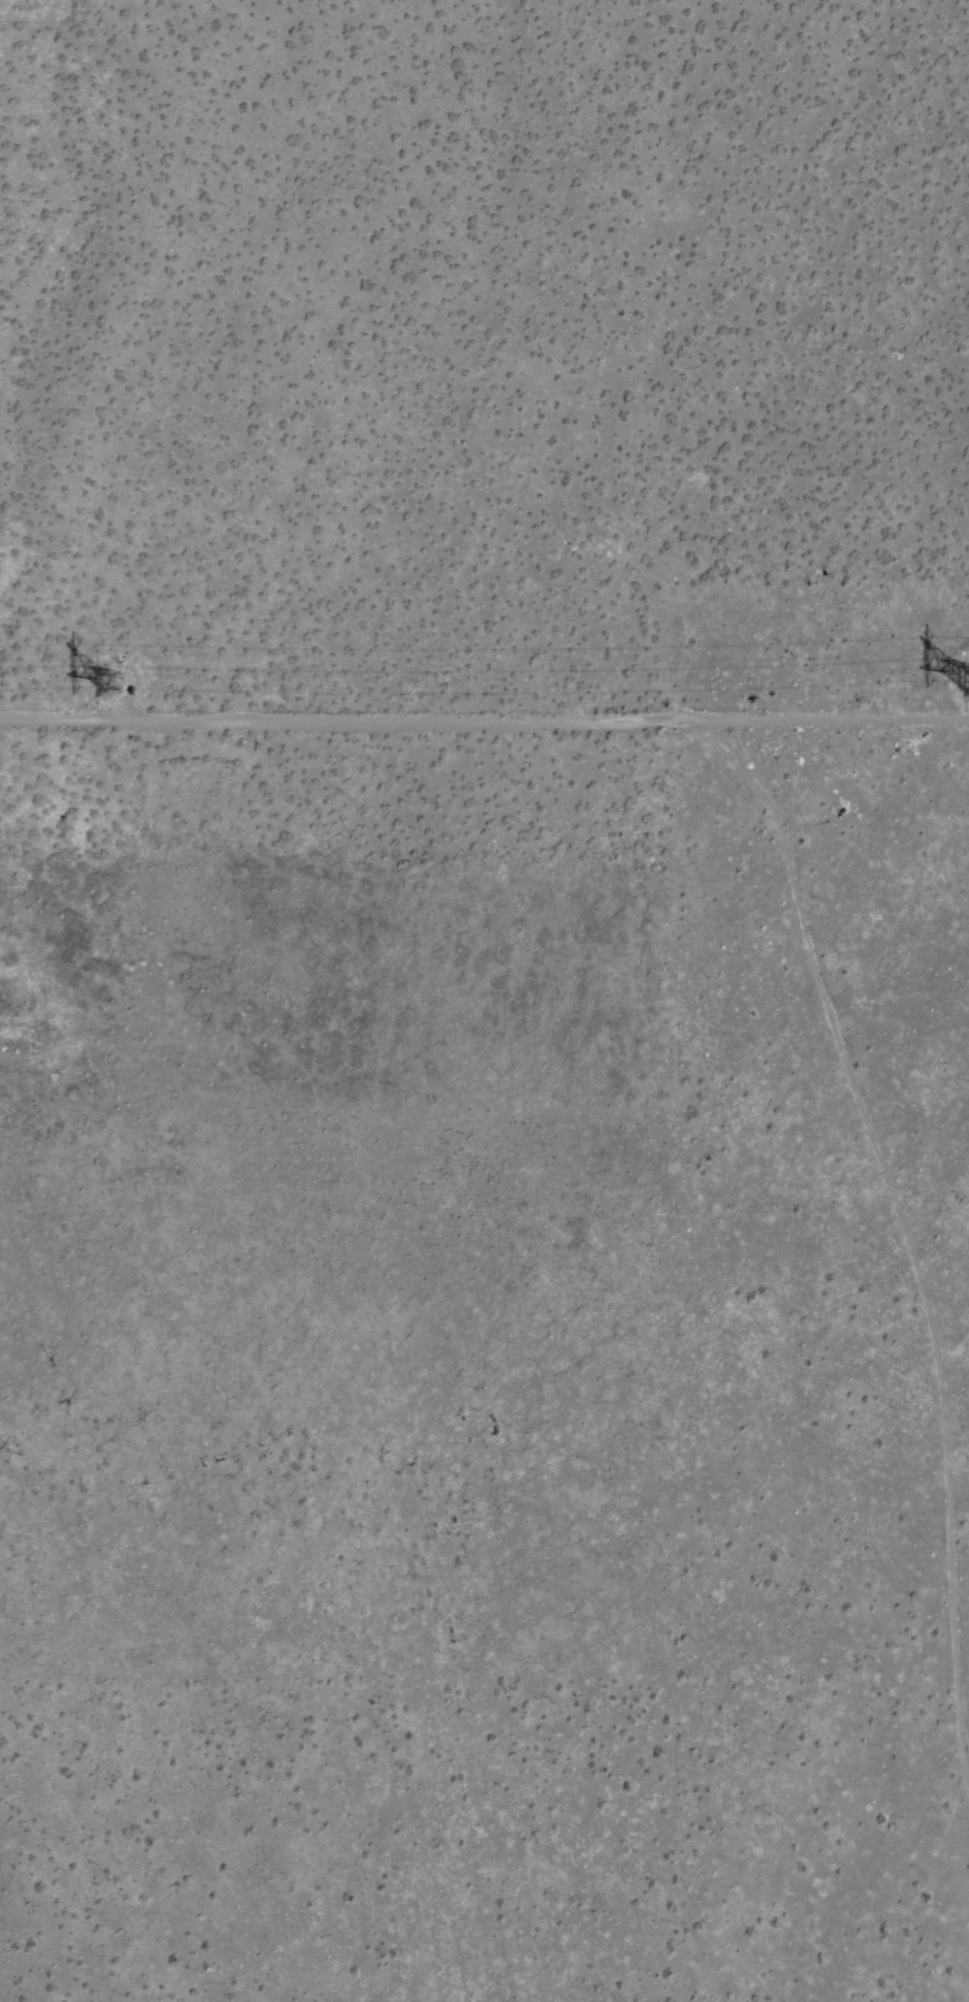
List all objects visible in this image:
power tower: (114, 699)
road: (484, 721)
road: (904, 1228)

